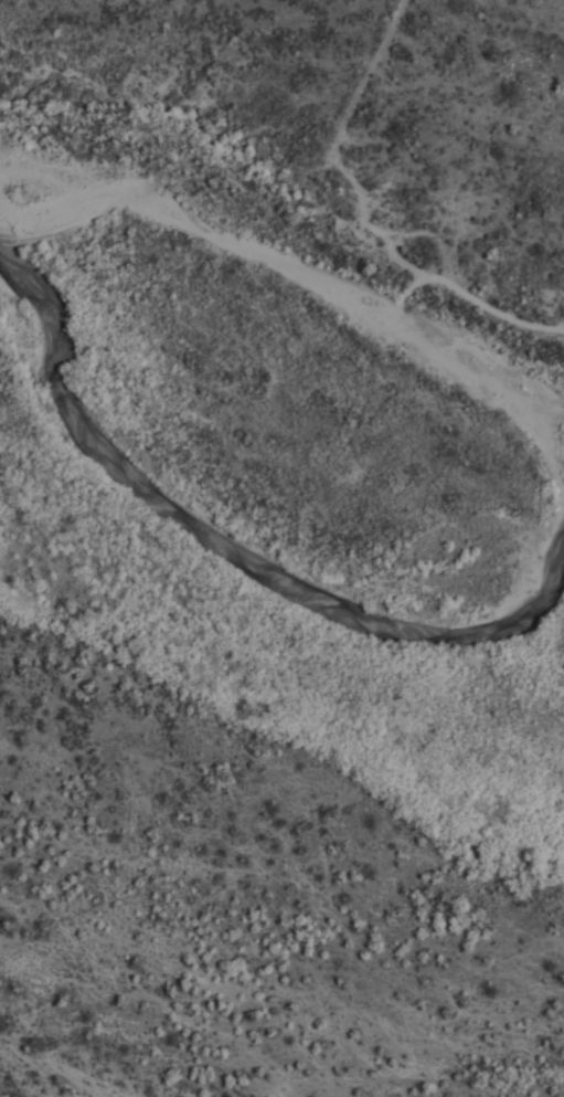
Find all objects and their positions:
river: (299, 291)

